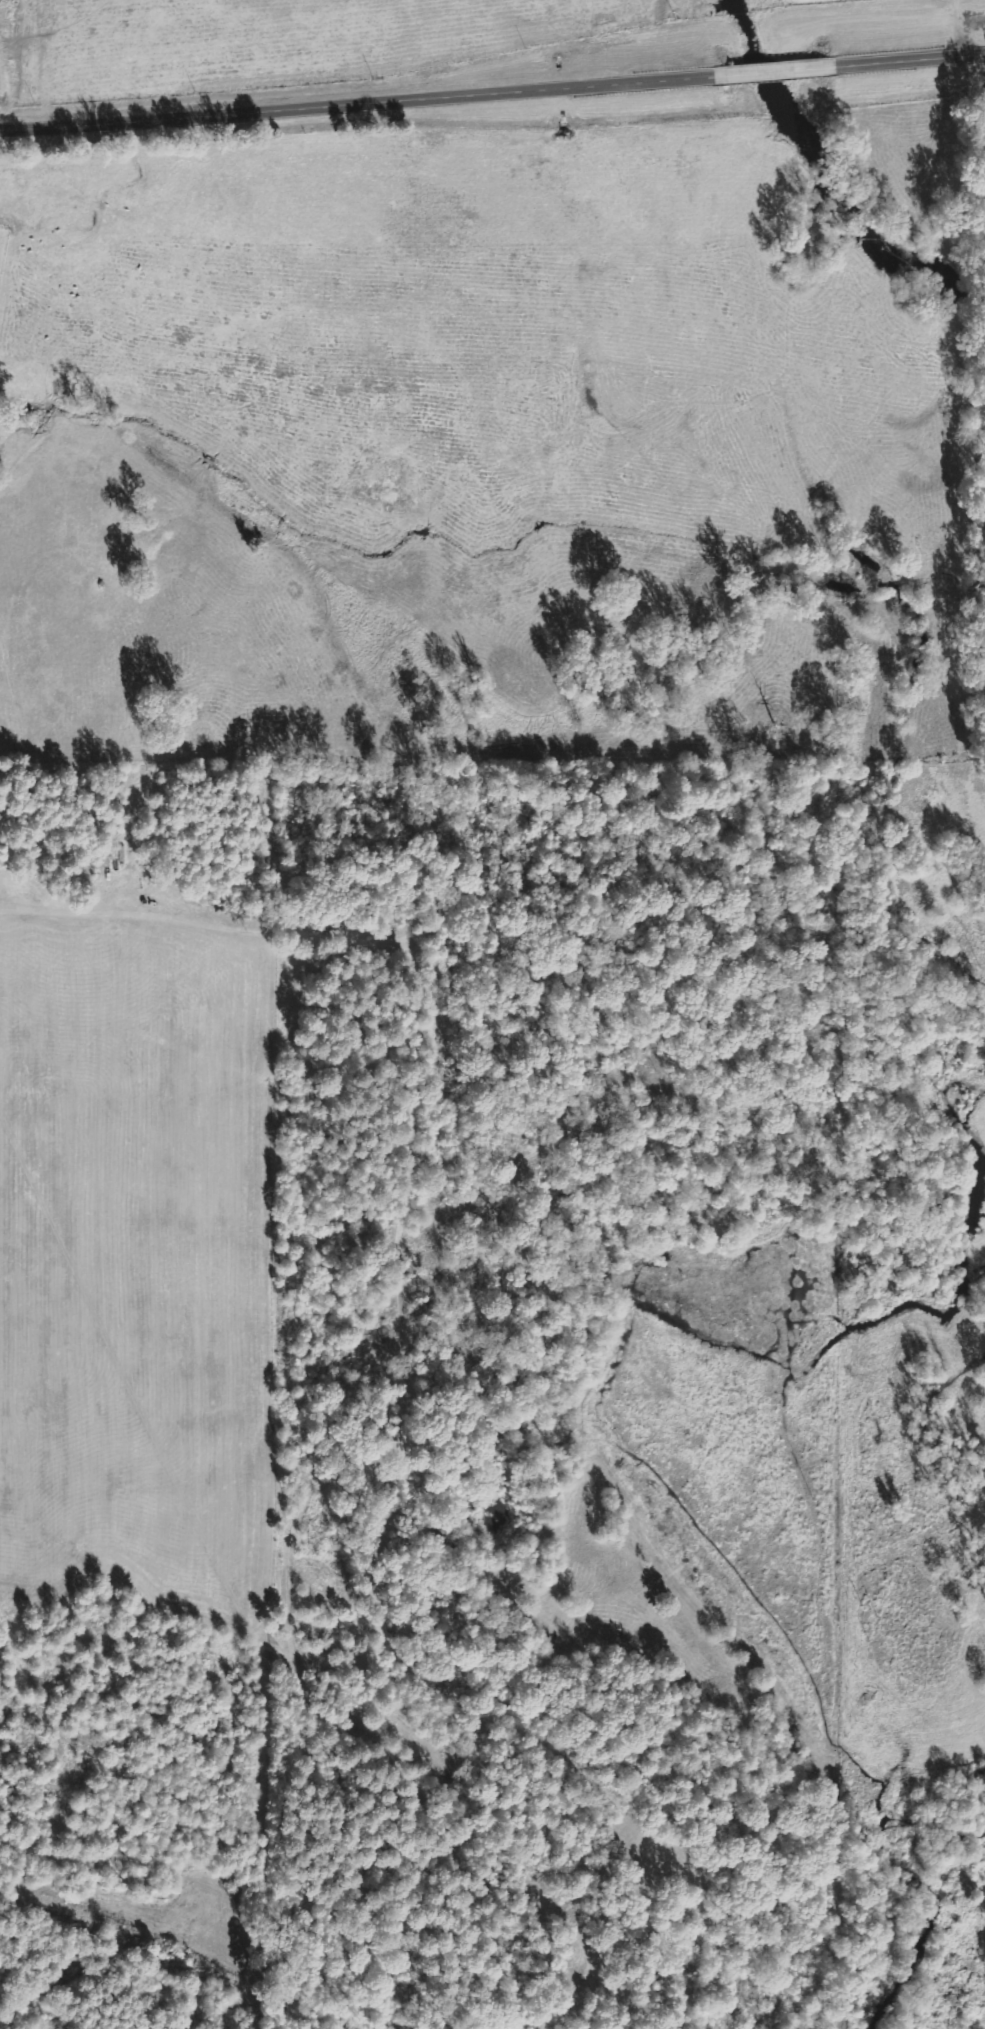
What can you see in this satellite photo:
road: (492, 94)

